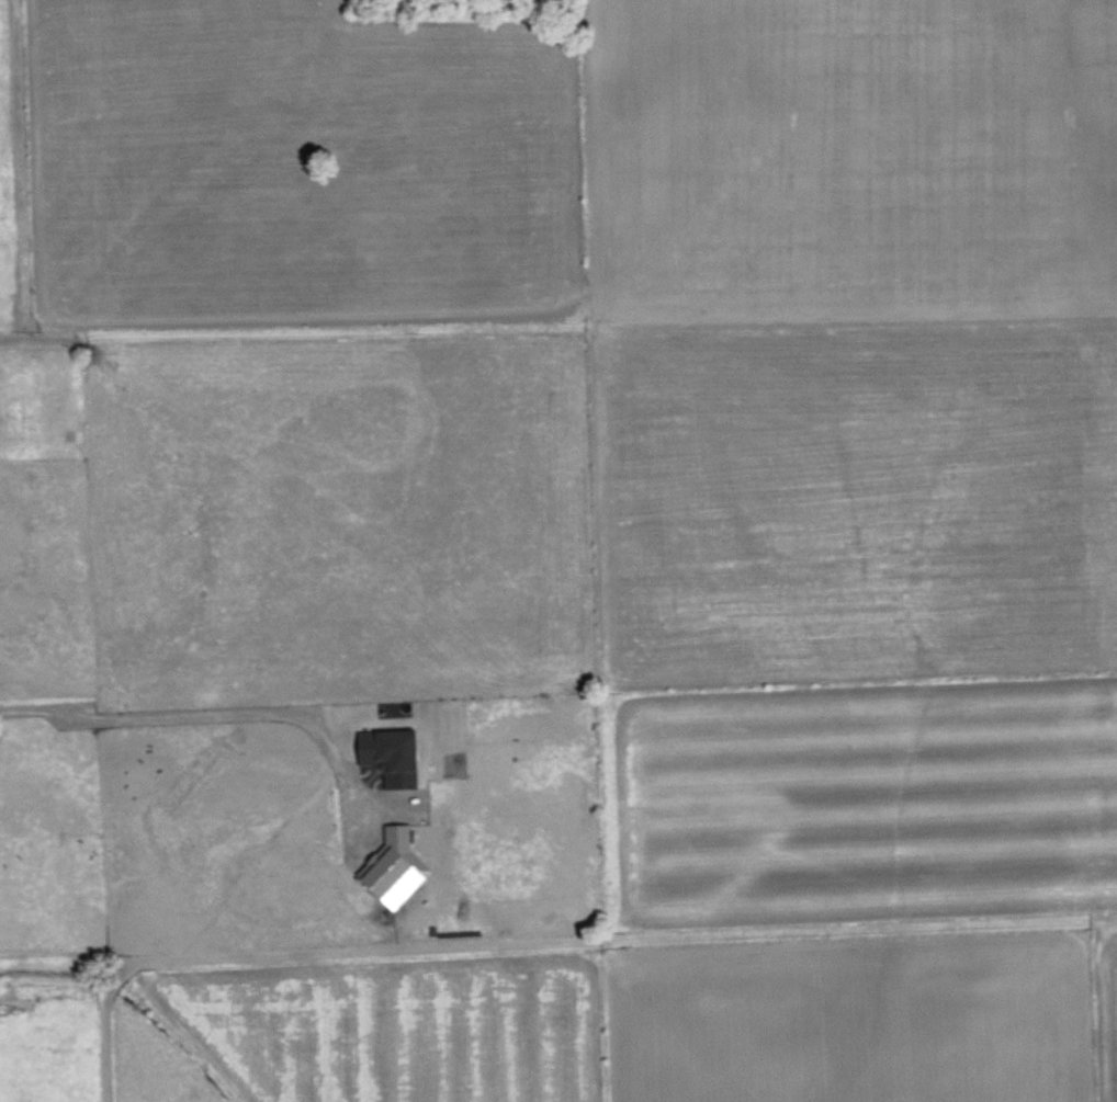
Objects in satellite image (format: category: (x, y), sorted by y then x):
road: (185, 714)
building: (396, 754)
building: (399, 866)

